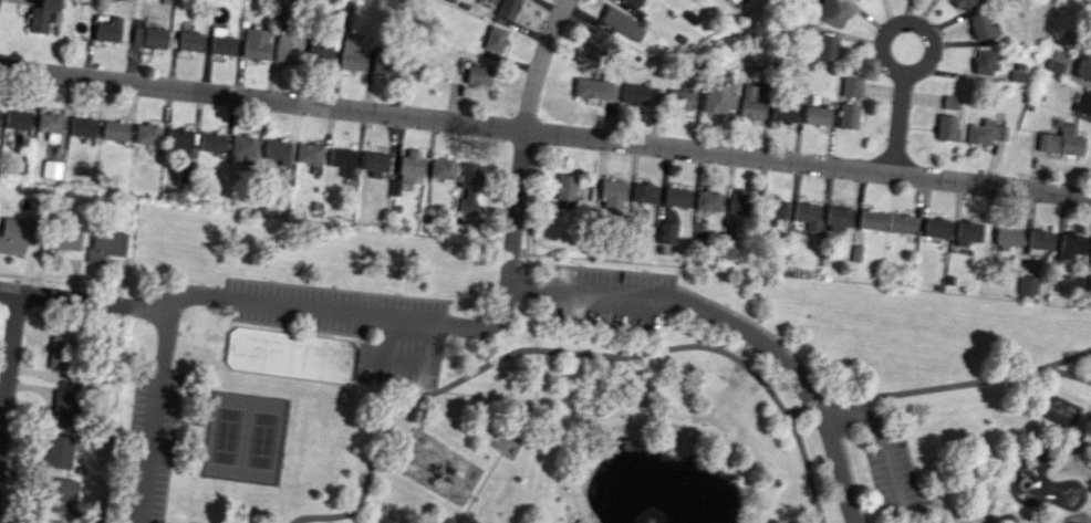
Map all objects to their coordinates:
building: (633, 2)
building: (738, 2)
building: (964, 3)
building: (506, 9)
building: (833, 11)
building: (42, 15)
road: (907, 21)
building: (621, 23)
building: (981, 27)
building: (107, 29)
building: (148, 36)
building: (493, 39)
building: (189, 41)
building: (254, 43)
building: (221, 44)
building: (824, 46)
building: (287, 48)
building: (595, 48)
building: (352, 53)
building: (320, 54)
building: (983, 61)
building: (1053, 65)
building: (1083, 67)
building: (1017, 72)
building: (476, 75)
building: (851, 86)
building: (594, 88)
building: (634, 94)
building: (680, 100)
building: (719, 100)
building: (752, 102)
building: (949, 102)
building: (1083, 102)
building: (785, 111)
building: (817, 115)
building: (848, 115)
building: (18, 118)
road: (898, 123)
building: (50, 125)
building: (82, 126)
building: (946, 127)
building: (114, 129)
road: (521, 130)
building: (979, 132)
road: (545, 133)
building: (146, 134)
building: (179, 138)
building: (211, 142)
building: (1060, 142)
building: (242, 150)
building: (277, 150)
building: (308, 153)
building: (341, 159)
building: (373, 163)
building: (408, 167)
building: (441, 168)
building: (51, 169)
building: (466, 186)
building: (564, 187)
building: (612, 192)
building: (644, 192)
building: (676, 196)
building: (708, 200)
building: (738, 203)
building: (777, 208)
building: (807, 215)
building: (838, 218)
building: (871, 219)
building: (898, 222)
building: (935, 227)
building: (668, 232)
building: (967, 232)
building: (17, 233)
building: (1007, 237)
building: (59, 239)
building: (1039, 239)
building: (104, 245)
building: (1070, 247)
building: (1090, 258)
road: (552, 276)
building: (1026, 284)
parking lot: (610, 296)
road: (84, 300)
parking lot: (237, 305)
road: (527, 312)
building: (288, 352)
building: (59, 353)
road: (508, 355)
road: (7, 356)
road: (1068, 358)
road: (1068, 374)
park: (569, 387)
road: (913, 388)
building: (59, 408)
road: (155, 411)
park: (241, 435)
road: (885, 446)
building: (55, 452)
road: (806, 464)
building: (56, 493)
building: (48, 521)

